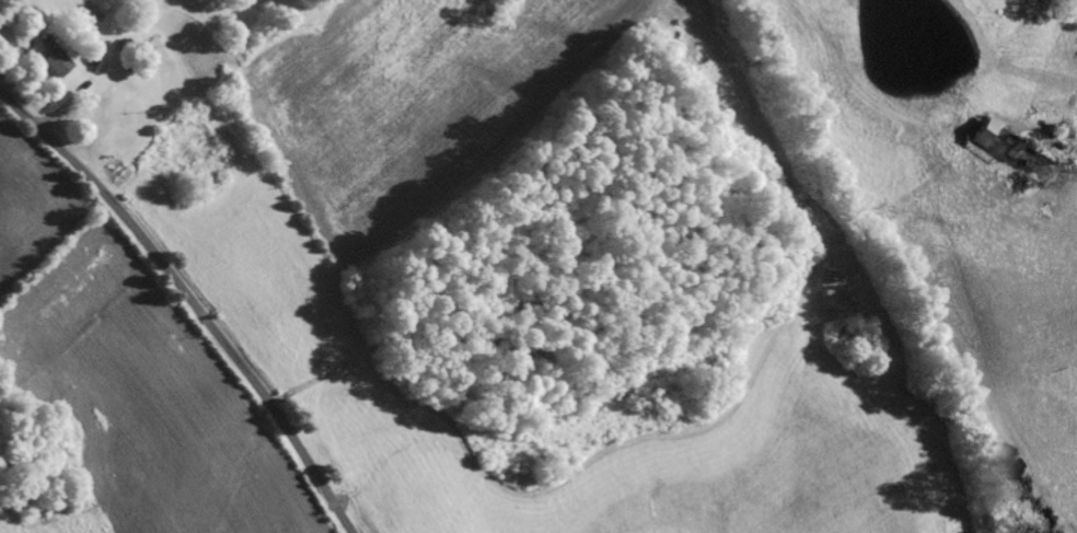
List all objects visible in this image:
building: (47, 61)
building: (1007, 151)
road: (189, 300)
building: (526, 302)

